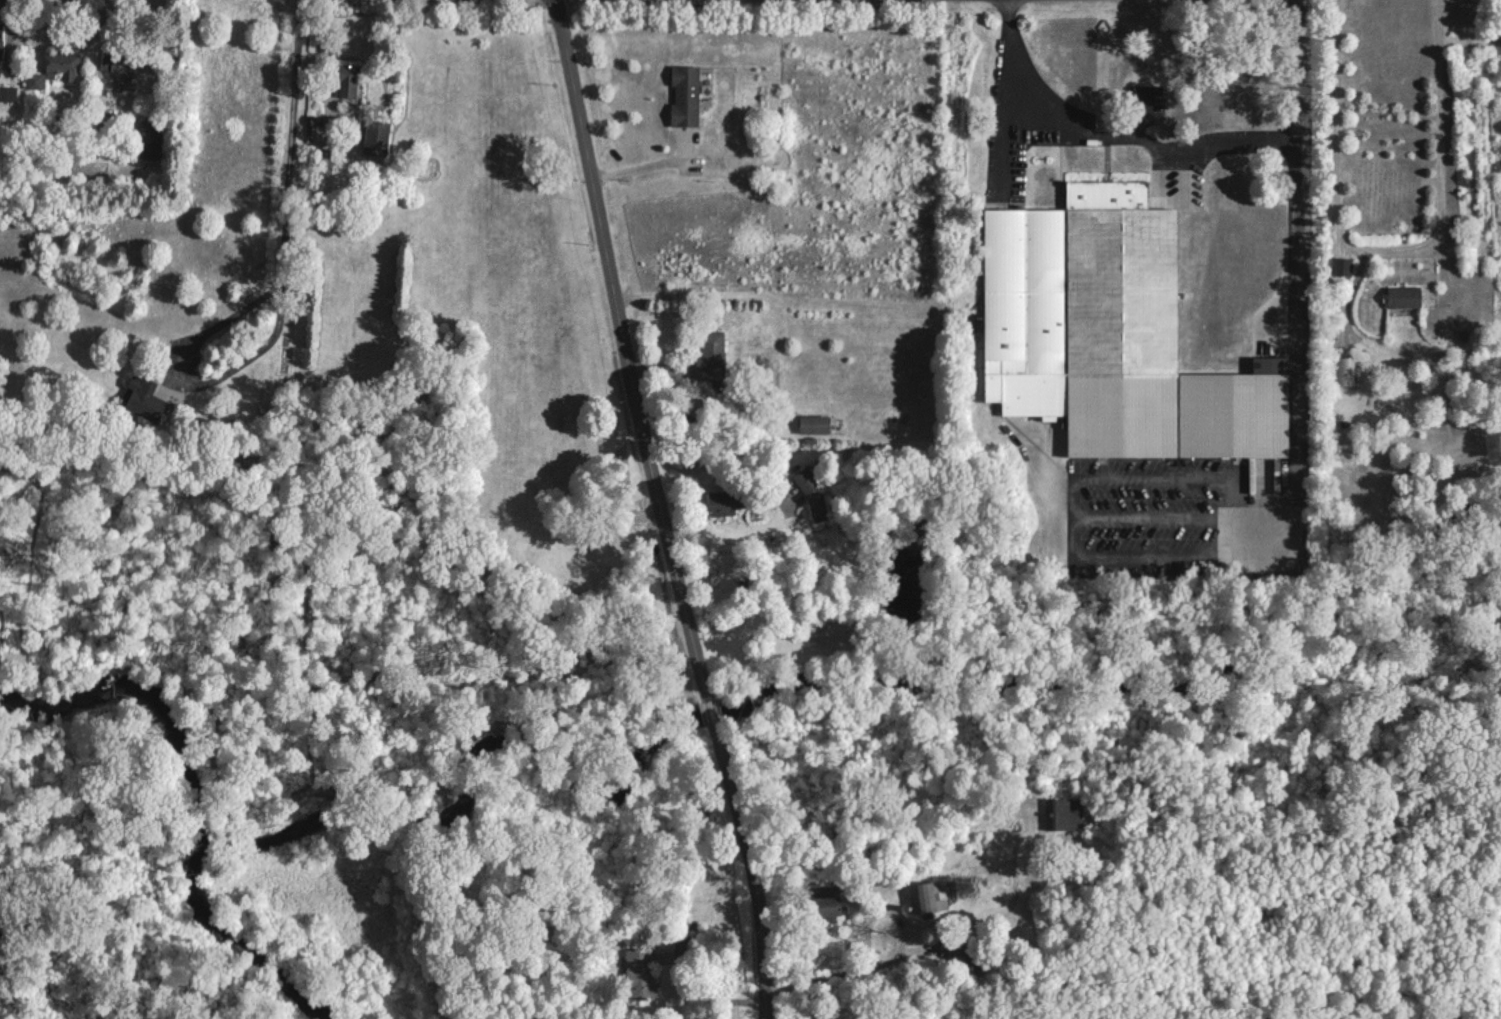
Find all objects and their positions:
building: (1472, 12)
building: (0, 42)
building: (61, 65)
building: (120, 70)
building: (347, 81)
building: (684, 95)
building: (150, 131)
building: (376, 135)
road: (1111, 137)
road: (292, 143)
road: (645, 168)
road: (1391, 250)
building: (1341, 266)
road: (1297, 285)
building: (1404, 296)
building: (1112, 335)
building: (710, 356)
road: (631, 357)
building: (1344, 371)
road: (192, 382)
building: (140, 389)
building: (813, 424)
road: (727, 437)
building: (806, 479)
building: (727, 502)
road: (1071, 512)
river: (193, 797)
road: (755, 864)
building: (927, 897)
building: (825, 909)
building: (640, 971)

